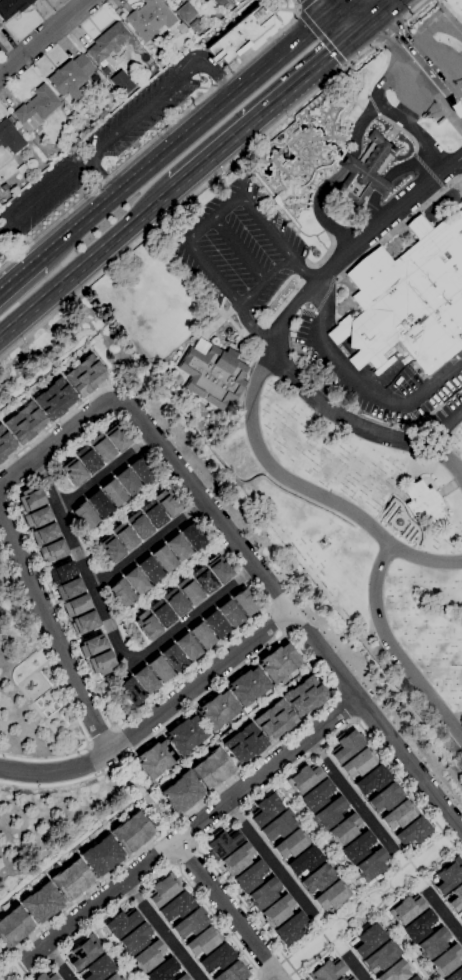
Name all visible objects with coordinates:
building: (205, 1)
building: (219, 2)
road: (304, 3)
road: (332, 3)
road: (340, 3)
building: (12, 7)
road: (294, 8)
road: (386, 8)
road: (412, 10)
road: (356, 11)
building: (185, 12)
road: (294, 12)
building: (149, 19)
building: (0, 26)
road: (389, 32)
building: (240, 36)
road: (44, 37)
road: (322, 39)
building: (107, 43)
road: (410, 46)
building: (160, 62)
road: (418, 68)
building: (104, 71)
building: (70, 77)
road: (426, 86)
road: (160, 93)
road: (273, 100)
building: (35, 109)
building: (102, 113)
road: (414, 130)
road: (188, 132)
road: (263, 134)
building: (10, 137)
road: (152, 138)
parking lot: (102, 150)
road: (455, 167)
building: (21, 169)
building: (366, 170)
road: (388, 176)
road: (335, 177)
road: (101, 178)
building: (4, 187)
road: (44, 196)
road: (201, 228)
parking lot: (244, 244)
road: (238, 250)
road: (87, 261)
road: (20, 279)
road: (263, 281)
road: (76, 294)
building: (409, 299)
park: (333, 349)
building: (213, 374)
building: (84, 376)
road: (381, 376)
road: (256, 384)
road: (357, 386)
building: (54, 399)
building: (24, 423)
road: (358, 426)
road: (46, 430)
road: (445, 430)
building: (117, 438)
road: (135, 439)
road: (59, 443)
building: (5, 444)
building: (100, 448)
building: (86, 460)
building: (141, 470)
building: (72, 472)
road: (105, 473)
building: (127, 482)
building: (112, 493)
building: (29, 500)
building: (167, 503)
building: (98, 504)
building: (423, 504)
building: (152, 514)
building: (84, 516)
building: (37, 518)
building: (138, 526)
building: (45, 534)
building: (123, 536)
building: (193, 536)
road: (147, 544)
building: (178, 548)
building: (52, 550)
building: (110, 550)
building: (164, 559)
building: (150, 570)
building: (219, 570)
building: (61, 572)
building: (204, 580)
building: (136, 581)
building: (68, 589)
building: (189, 591)
building: (121, 593)
building: (175, 602)
building: (245, 603)
building: (76, 606)
road: (290, 612)
building: (161, 614)
building: (230, 614)
road: (275, 621)
building: (85, 622)
building: (215, 625)
building: (147, 626)
road: (55, 633)
building: (201, 636)
road: (114, 638)
building: (92, 645)
building: (188, 647)
road: (393, 653)
building: (173, 657)
building: (101, 662)
building: (278, 662)
building: (159, 669)
building: (145, 680)
building: (248, 686)
road: (62, 690)
building: (130, 692)
building: (305, 696)
park: (46, 698)
building: (218, 710)
road: (343, 710)
road: (154, 716)
road: (455, 717)
building: (274, 720)
building: (186, 735)
road: (155, 736)
building: (245, 744)
building: (345, 746)
building: (156, 759)
building: (358, 763)
building: (212, 768)
building: (304, 778)
building: (372, 780)
road: (274, 785)
building: (182, 792)
road: (351, 794)
building: (317, 795)
building: (386, 798)
road: (191, 810)
building: (265, 810)
building: (330, 813)
building: (399, 815)
building: (278, 825)
road: (189, 828)
building: (344, 830)
road: (186, 831)
building: (132, 832)
building: (412, 832)
road: (322, 839)
building: (223, 843)
building: (292, 844)
building: (357, 847)
road: (160, 852)
road: (185, 855)
building: (101, 856)
road: (269, 857)
building: (237, 859)
building: (305, 861)
building: (372, 865)
road: (422, 871)
road: (160, 872)
building: (250, 876)
building: (447, 876)
road: (421, 877)
building: (318, 878)
building: (71, 880)
road: (417, 885)
building: (163, 890)
building: (264, 894)
building: (332, 896)
road: (365, 896)
building: (454, 898)
park: (370, 901)
building: (41, 903)
building: (176, 907)
road: (374, 909)
building: (406, 909)
road: (226, 910)
building: (278, 911)
road: (444, 914)
building: (460, 916)
building: (122, 923)
building: (190, 923)
building: (419, 926)
building: (14, 927)
building: (290, 928)
road: (165, 930)
building: (135, 939)
building: (368, 940)
building: (203, 942)
road: (402, 944)
building: (433, 944)
road: (325, 947)
road: (333, 948)
road: (119, 951)
building: (83, 952)
building: (382, 955)
building: (149, 956)
building: (216, 959)
building: (446, 961)
road: (56, 962)
road: (355, 967)
building: (97, 969)
building: (163, 970)
building: (327, 971)
building: (232, 972)
building: (394, 972)
building: (455, 975)
building: (46, 977)
building: (113, 977)
building: (183, 977)
road: (257, 978)
road: (276, 978)
building: (349, 978)
building: (414, 978)
building: (340, 979)

